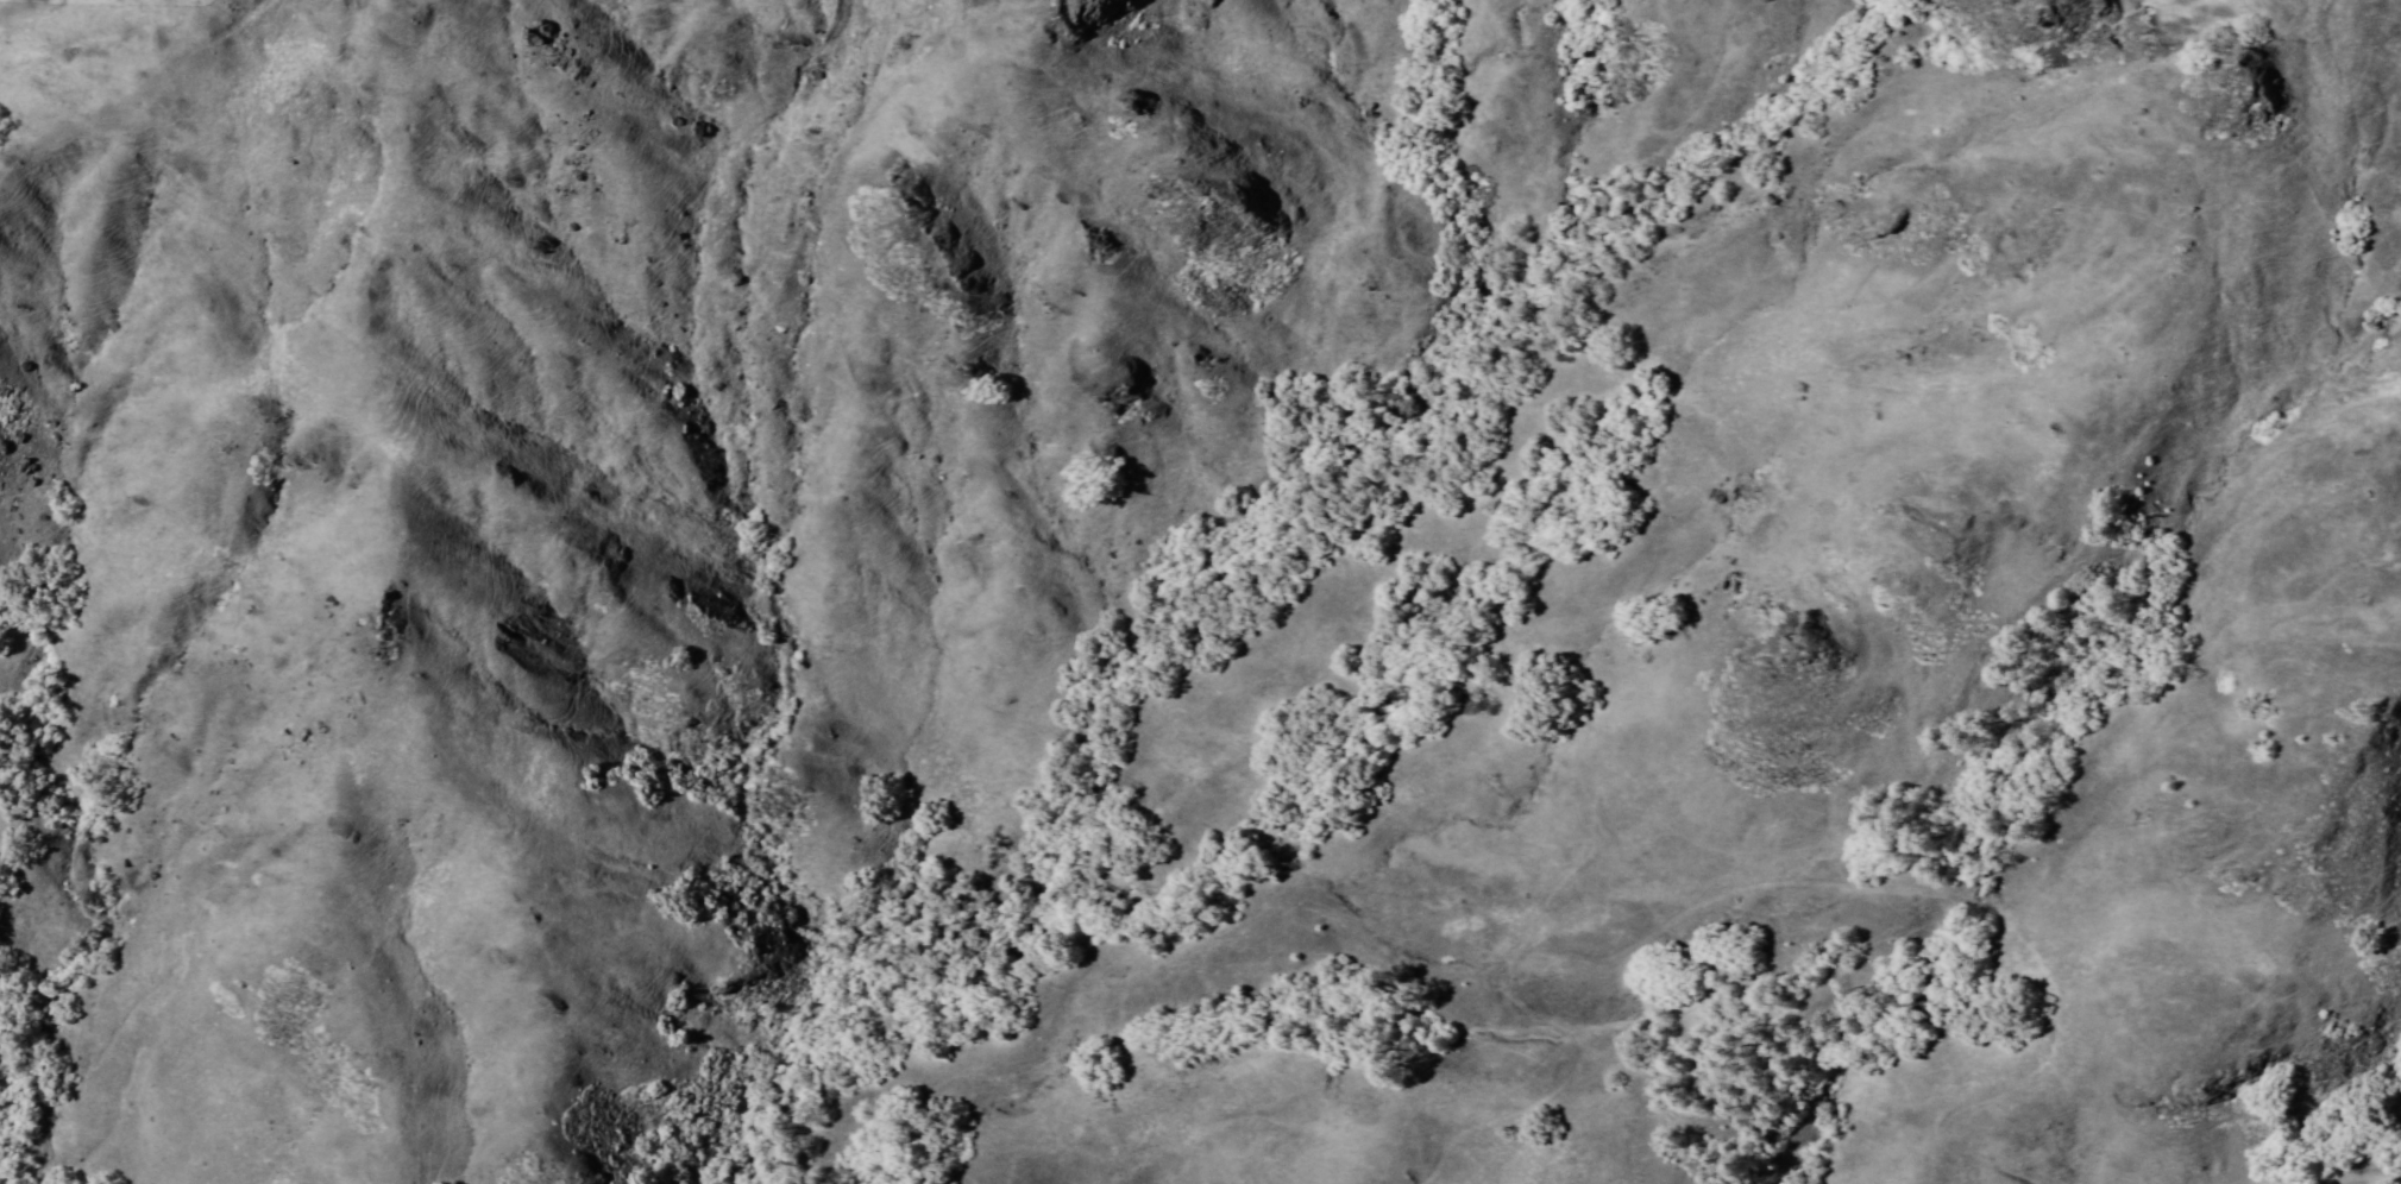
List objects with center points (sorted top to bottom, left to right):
road: (137, 95)

